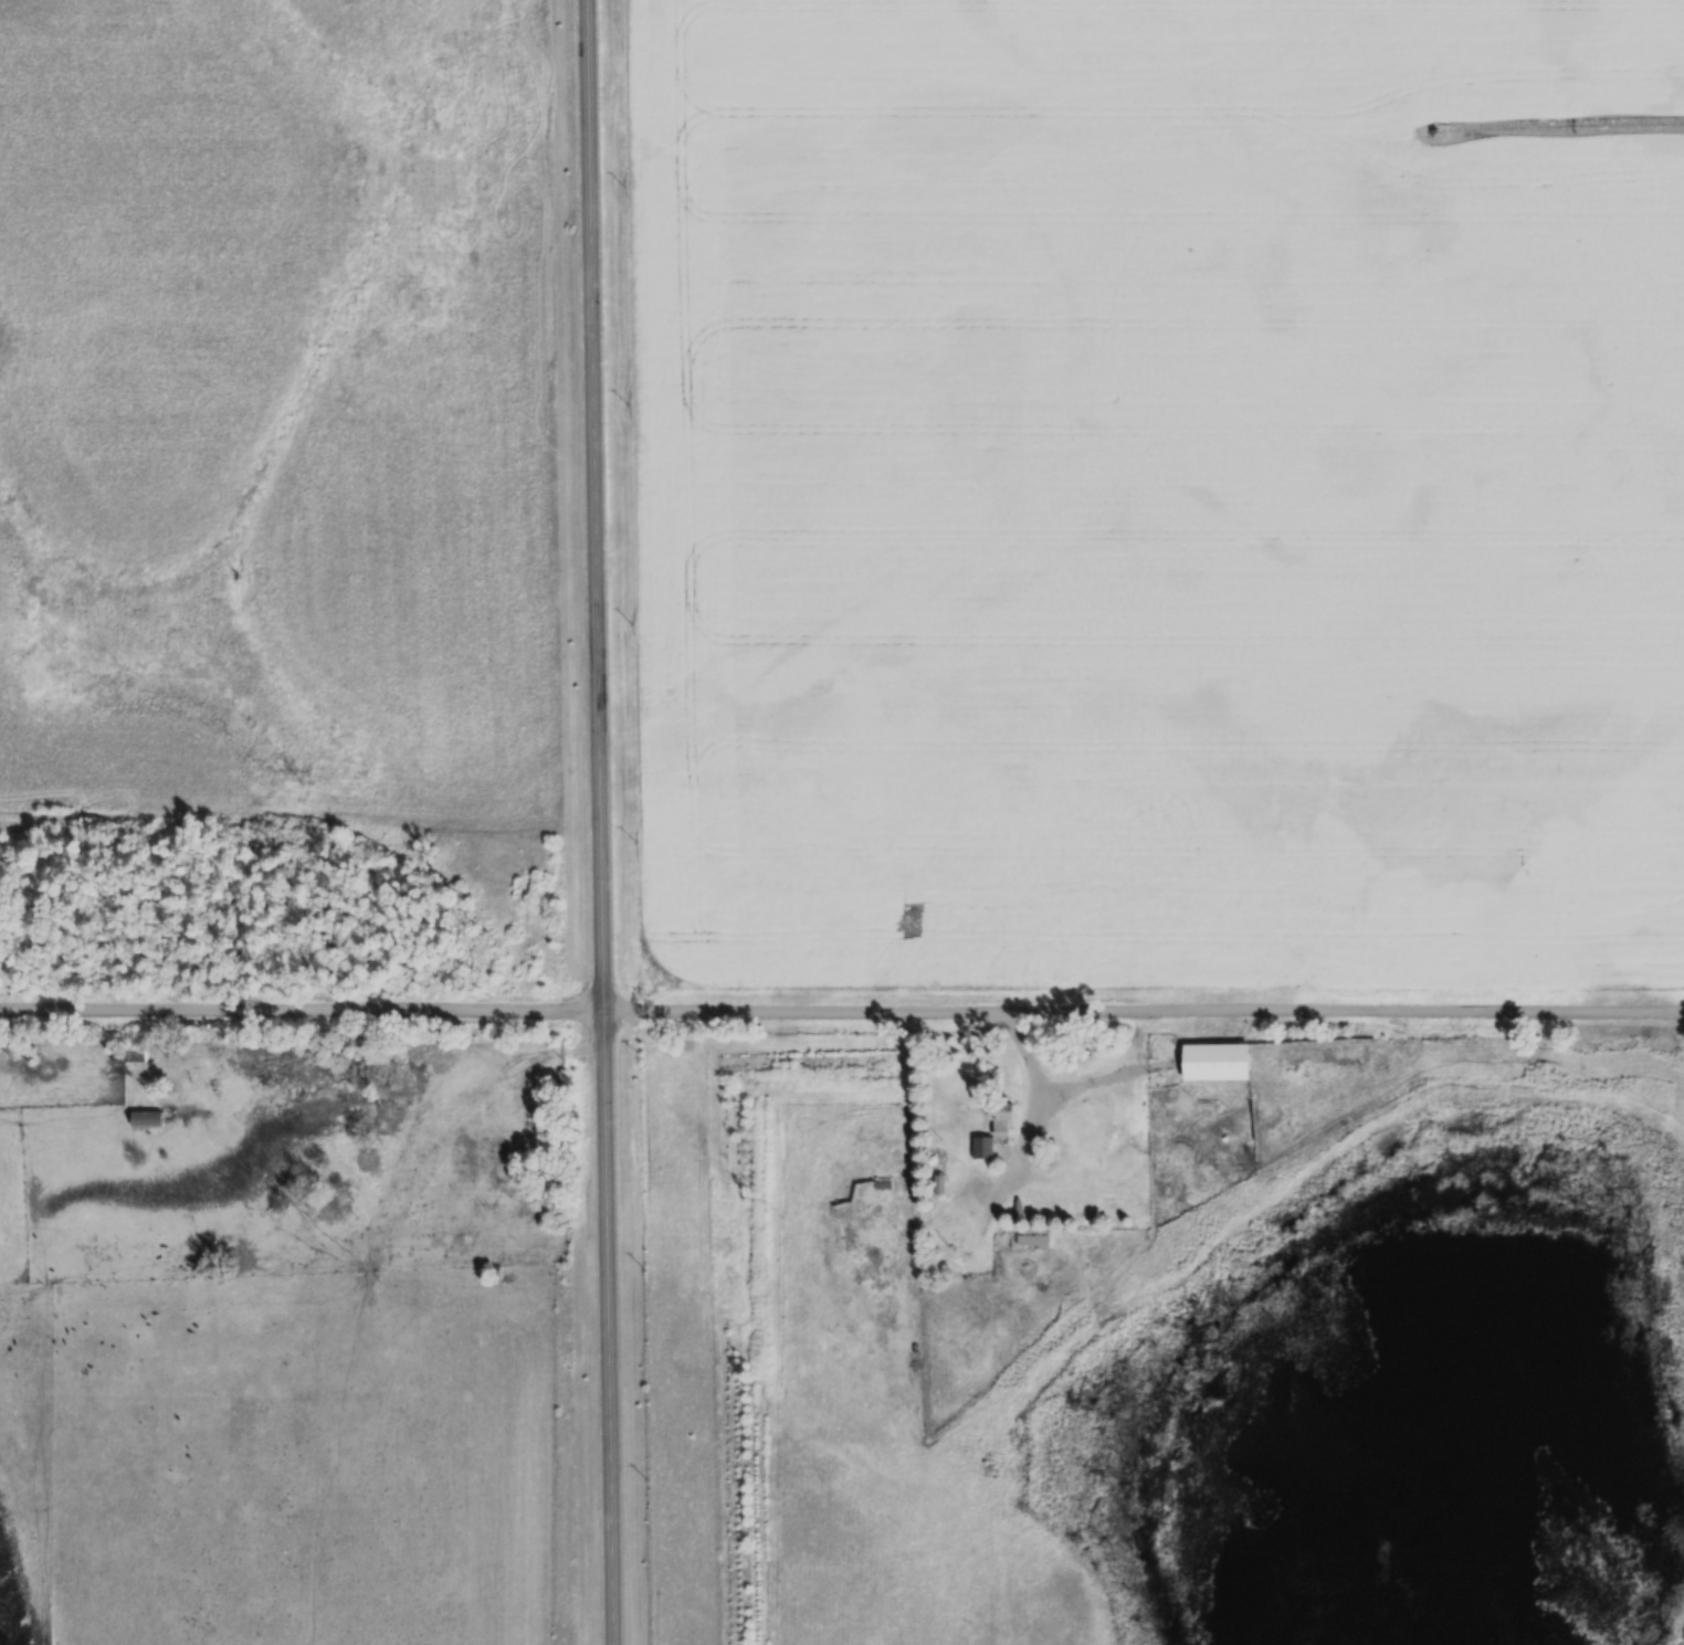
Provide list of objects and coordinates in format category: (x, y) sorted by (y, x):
road: (606, 822)
road: (841, 1013)
building: (1218, 1062)
building: (147, 1120)
building: (997, 1131)
building: (939, 1184)
building: (960, 1225)
building: (1034, 1236)

